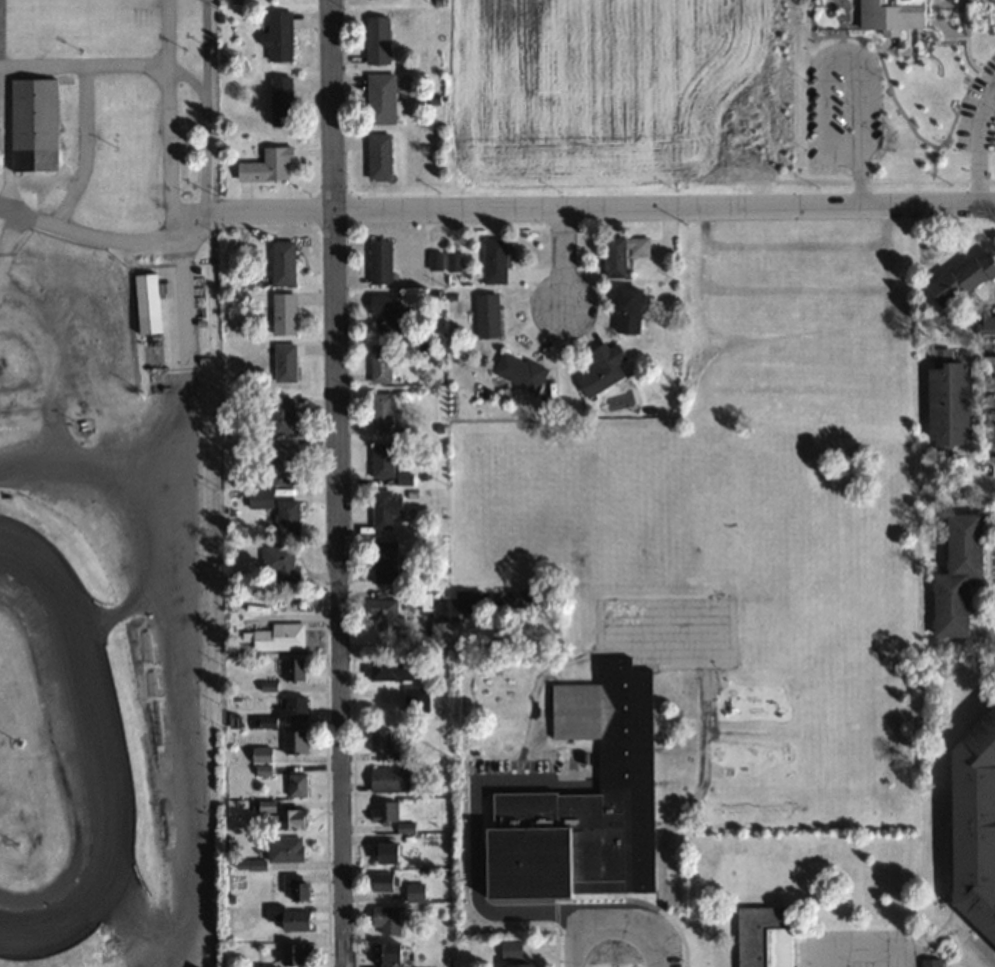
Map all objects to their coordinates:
building: (886, 14)
building: (277, 35)
building: (375, 39)
road: (84, 64)
road: (833, 64)
crop: (609, 96)
building: (378, 98)
building: (279, 100)
building: (33, 113)
road: (169, 118)
road: (978, 146)
road: (85, 147)
building: (377, 156)
building: (266, 165)
road: (860, 186)
road: (664, 205)
road: (248, 209)
road: (84, 229)
building: (620, 252)
road: (564, 257)
building: (492, 260)
building: (378, 261)
building: (281, 262)
building: (984, 264)
building: (966, 273)
building: (941, 288)
building: (144, 302)
building: (624, 309)
building: (384, 312)
building: (282, 314)
building: (485, 315)
building: (283, 363)
building: (378, 363)
building: (599, 368)
building: (517, 370)
road: (992, 372)
building: (944, 403)
building: (383, 414)
building: (279, 416)
building: (381, 459)
building: (282, 463)
building: (401, 478)
road: (337, 483)
park: (110, 486)
building: (257, 498)
building: (383, 506)
building: (285, 516)
building: (958, 545)
building: (383, 560)
building: (278, 564)
building: (517, 597)
building: (451, 604)
building: (946, 605)
building: (382, 614)
building: (275, 637)
building: (292, 669)
building: (389, 669)
building: (415, 699)
building: (292, 709)
building: (293, 742)
building: (381, 742)
raceway: (106, 762)
building: (602, 774)
building: (387, 779)
building: (296, 784)
building: (383, 810)
building: (975, 813)
building: (288, 818)
building: (283, 848)
building: (385, 851)
building: (381, 880)
building: (294, 885)
building: (415, 891)
building: (289, 918)
building: (385, 918)
road: (611, 920)
building: (761, 936)
building: (292, 953)
building: (386, 954)
building: (511, 954)
road: (843, 957)

